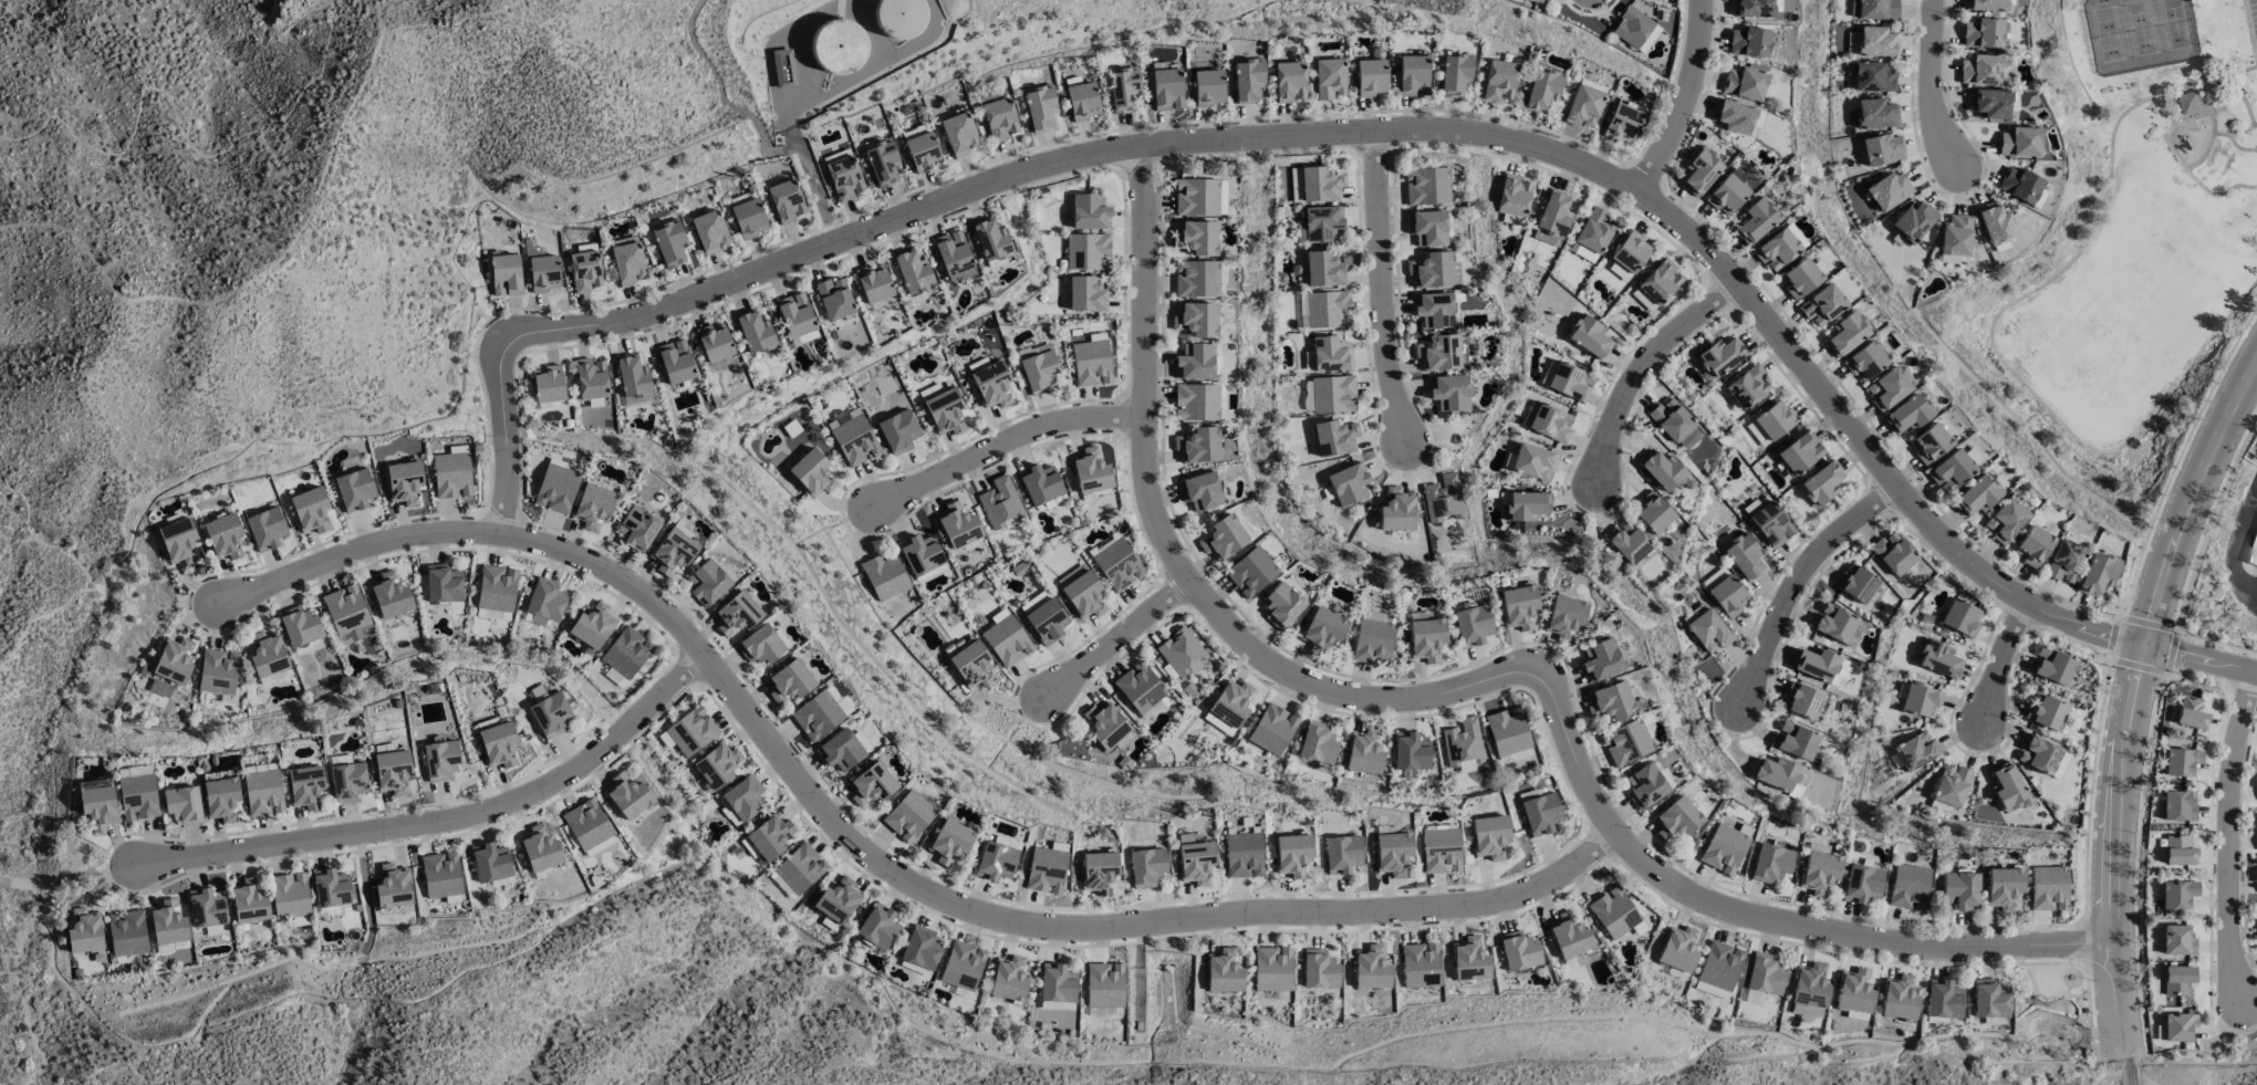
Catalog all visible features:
building: (1535, 0)
building: (1985, 4)
building: (1751, 8)
building: (1876, 9)
building: (898, 18)
parking lot: (2253, 19)
building: (1634, 29)
road: (2250, 30)
building: (1982, 33)
park: (2140, 34)
building: (1748, 42)
building: (1872, 42)
building: (838, 45)
building: (1979, 69)
road: (2192, 72)
building: (1455, 73)
building: (1413, 75)
building: (1370, 76)
building: (1869, 76)
building: (1329, 79)
building: (1247, 80)
building: (1499, 80)
building: (1289, 81)
building: (1744, 82)
building: (1207, 87)
road: (1931, 87)
building: (1123, 88)
building: (1542, 88)
road: (719, 95)
building: (1081, 101)
road: (1684, 102)
building: (2188, 102)
building: (1988, 103)
building: (1584, 104)
road: (2245, 104)
building: (1039, 107)
building: (1875, 113)
building: (1731, 116)
building: (999, 118)
road: (178, 122)
building: (1621, 123)
road: (1371, 133)
road: (2212, 133)
building: (958, 134)
building: (2018, 142)
building: (921, 147)
road: (2237, 147)
building: (1882, 148)
building: (881, 161)
road: (805, 169)
building: (1700, 170)
building: (843, 177)
road: (2196, 180)
building: (1294, 185)
building: (1320, 185)
building: (2019, 185)
building: (1425, 186)
building: (1887, 190)
building: (1727, 191)
building: (1512, 195)
building: (1196, 197)
building: (784, 201)
building: (1089, 211)
building: (1553, 215)
building: (748, 218)
building: (1756, 219)
park: (2146, 220)
building: (1913, 221)
building: (1321, 222)
building: (1995, 222)
building: (1426, 227)
building: (1594, 230)
building: (709, 231)
building: (1955, 236)
building: (1196, 237)
building: (991, 241)
building: (669, 243)
building: (1776, 249)
building: (1086, 251)
building: (1630, 251)
building: (1581, 252)
building: (953, 257)
building: (627, 262)
building: (1324, 268)
building: (542, 270)
building: (584, 271)
building: (912, 271)
building: (1619, 271)
building: (505, 274)
building: (1798, 278)
building: (1195, 279)
building: (873, 283)
building: (1655, 284)
road: (1382, 290)
building: (1086, 294)
building: (833, 299)
building: (1821, 305)
building: (1327, 309)
building: (1433, 310)
building: (794, 315)
park: (2125, 315)
building: (1195, 319)
road: (1991, 327)
building: (753, 332)
building: (1847, 332)
building: (1588, 336)
building: (803, 337)
building: (714, 342)
building: (1438, 353)
building: (1327, 355)
building: (1718, 357)
building: (1863, 361)
building: (675, 362)
building: (1194, 362)
building: (1090, 363)
building: (1037, 367)
road: (1644, 369)
building: (590, 378)
building: (633, 380)
building: (1567, 380)
building: (547, 384)
building: (991, 385)
building: (1747, 386)
road: (2250, 387)
building: (1886, 388)
building: (1448, 393)
building: (1332, 394)
building: (1195, 401)
building: (944, 411)
building: (1907, 414)
building: (1774, 419)
building: (1550, 422)
building: (1674, 424)
building: (897, 431)
building: (852, 437)
building: (1333, 438)
road: (999, 440)
building: (1928, 442)
building: (1198, 446)
building: (1799, 452)
building: (1532, 461)
building: (1662, 470)
building: (1949, 470)
building: (1090, 471)
building: (811, 472)
building: (450, 474)
building: (403, 482)
building: (1039, 483)
building: (1348, 483)
building: (1821, 484)
building: (555, 488)
building: (354, 489)
building: (1199, 491)
building: (1977, 494)
building: (1440, 499)
building: (1000, 503)
building: (592, 505)
building: (1526, 505)
building: (310, 509)
building: (1396, 510)
building: (1652, 512)
building: (2005, 520)
building: (1768, 521)
building: (957, 525)
building: (266, 529)
building: (636, 529)
building: (222, 536)
building: (1223, 538)
building: (177, 541)
building: (1627, 542)
building: (2031, 545)
road: (2235, 549)
building: (673, 551)
building: (2253, 551)
building: (1892, 553)
building: (919, 554)
building: (1743, 556)
road: (1169, 560)
building: (2064, 562)
building: (1116, 565)
building: (1021, 570)
building: (1250, 572)
building: (2097, 574)
road: (89, 575)
building: (884, 576)
road: (1800, 581)
building: (707, 583)
building: (443, 584)
building: (1855, 584)
building: (496, 588)
building: (1080, 592)
building: (1724, 592)
building: (389, 595)
building: (544, 599)
building: (1281, 605)
building: (1517, 606)
building: (346, 614)
building: (736, 614)
building: (1377, 616)
building: (1564, 617)
building: (1960, 617)
building: (533, 619)
building: (1044, 620)
building: (1832, 623)
building: (1471, 624)
building: (592, 626)
building: (299, 628)
building: (1321, 628)
building: (1708, 630)
road: (1116, 638)
building: (1425, 638)
building: (1006, 640)
building: (1372, 640)
building: (760, 645)
building: (626, 651)
building: (1180, 653)
building: (267, 655)
building: (1937, 658)
building: (173, 660)
building: (1600, 660)
building: (1814, 664)
road: (1999, 664)
building: (970, 665)
building: (2051, 666)
building: (217, 671)
building: (614, 677)
building: (789, 681)
building: (1141, 690)
building: (1610, 700)
building: (1801, 700)
building: (1920, 700)
road: (2134, 700)
building: (1227, 707)
building: (2046, 712)
building: (2190, 712)
building: (550, 714)
building: (817, 714)
building: (1106, 727)
building: (1271, 729)
building: (690, 731)
building: (1506, 731)
building: (1795, 740)
building: (1317, 742)
building: (1625, 742)
building: (497, 743)
building: (1462, 744)
building: (840, 750)
building: (1410, 751)
building: (1915, 751)
building: (1363, 752)
building: (2037, 754)
building: (439, 760)
building: (2181, 761)
building: (716, 765)
building: (2059, 765)
building: (133, 770)
building: (391, 771)
building: (1776, 773)
building: (347, 781)
building: (2256, 783)
building: (871, 784)
building: (1645, 785)
building: (1951, 785)
building: (304, 786)
building: (2006, 786)
building: (262, 792)
building: (627, 796)
building: (137, 797)
building: (742, 797)
building: (220, 799)
building: (97, 803)
building: (183, 805)
building: (2177, 805)
building: (1540, 813)
building: (907, 816)
road: (443, 818)
building: (1675, 818)
building: (585, 824)
building: (1735, 825)
road: (2228, 835)
building: (769, 836)
building: (1488, 836)
building: (948, 842)
building: (599, 846)
building: (1723, 848)
building: (539, 849)
building: (1439, 851)
building: (2177, 851)
road: (867, 853)
building: (1391, 853)
building: (1291, 854)
building: (1341, 854)
building: (1242, 855)
building: (1194, 858)
building: (995, 860)
building: (489, 863)
building: (1770, 863)
building: (1145, 867)
building: (799, 868)
building: (1044, 870)
building: (1819, 873)
building: (440, 875)
building: (2255, 875)
road: (67, 880)
building: (1860, 883)
building: (392, 887)
building: (1907, 887)
building: (2000, 887)
building: (330, 888)
building: (2047, 888)
building: (1958, 890)
building: (2176, 894)
building: (289, 895)
building: (836, 900)
building: (248, 904)
building: (206, 908)
building: (1612, 912)
building: (167, 922)
road: (1766, 924)
building: (877, 927)
building: (84, 931)
building: (126, 932)
building: (1568, 936)
building: (2176, 940)
building: (921, 948)
building: (164, 949)
building: (1677, 949)
building: (1518, 951)
building: (1468, 961)
building: (1719, 964)
building: (961, 966)
building: (1419, 966)
building: (1271, 969)
building: (1370, 969)
building: (1319, 970)
building: (1221, 972)
building: (1764, 973)
building: (1008, 979)
building: (2176, 979)
building: (1057, 983)
building: (1103, 985)
building: (1809, 985)
building: (1710, 990)
building: (1853, 991)
building: (1755, 998)
building: (1897, 998)
building: (1943, 999)
building: (1989, 999)
building: (1806, 1010)
building: (2177, 1026)
road: (2129, 1073)

